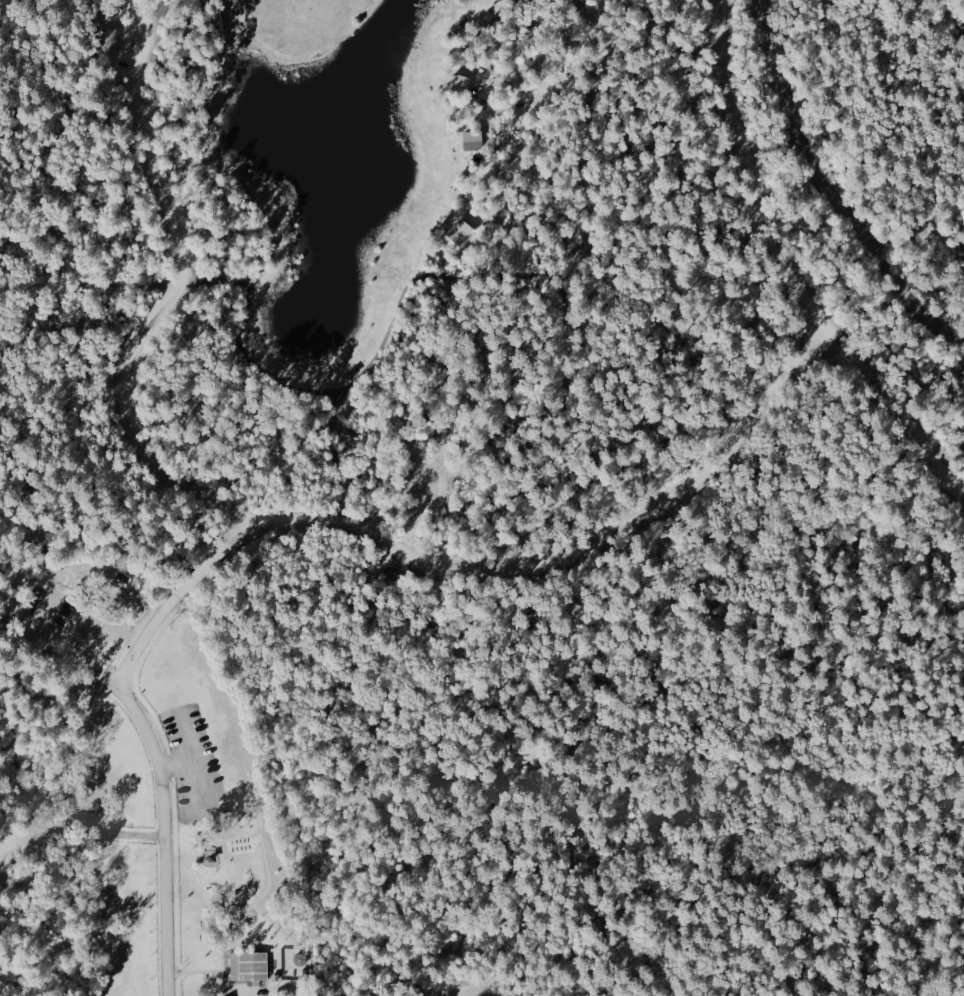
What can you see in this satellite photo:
building: (111, 38)
building: (458, 85)
building: (461, 233)
road: (788, 273)
road: (584, 276)
road: (170, 298)
road: (415, 508)
road: (557, 560)
road: (195, 578)
road: (47, 607)
road: (19, 610)
road: (76, 654)
road: (190, 708)
road: (170, 765)
road: (164, 779)
road: (583, 779)
road: (128, 832)
road: (243, 914)
building: (250, 966)
road: (226, 986)
road: (242, 991)

